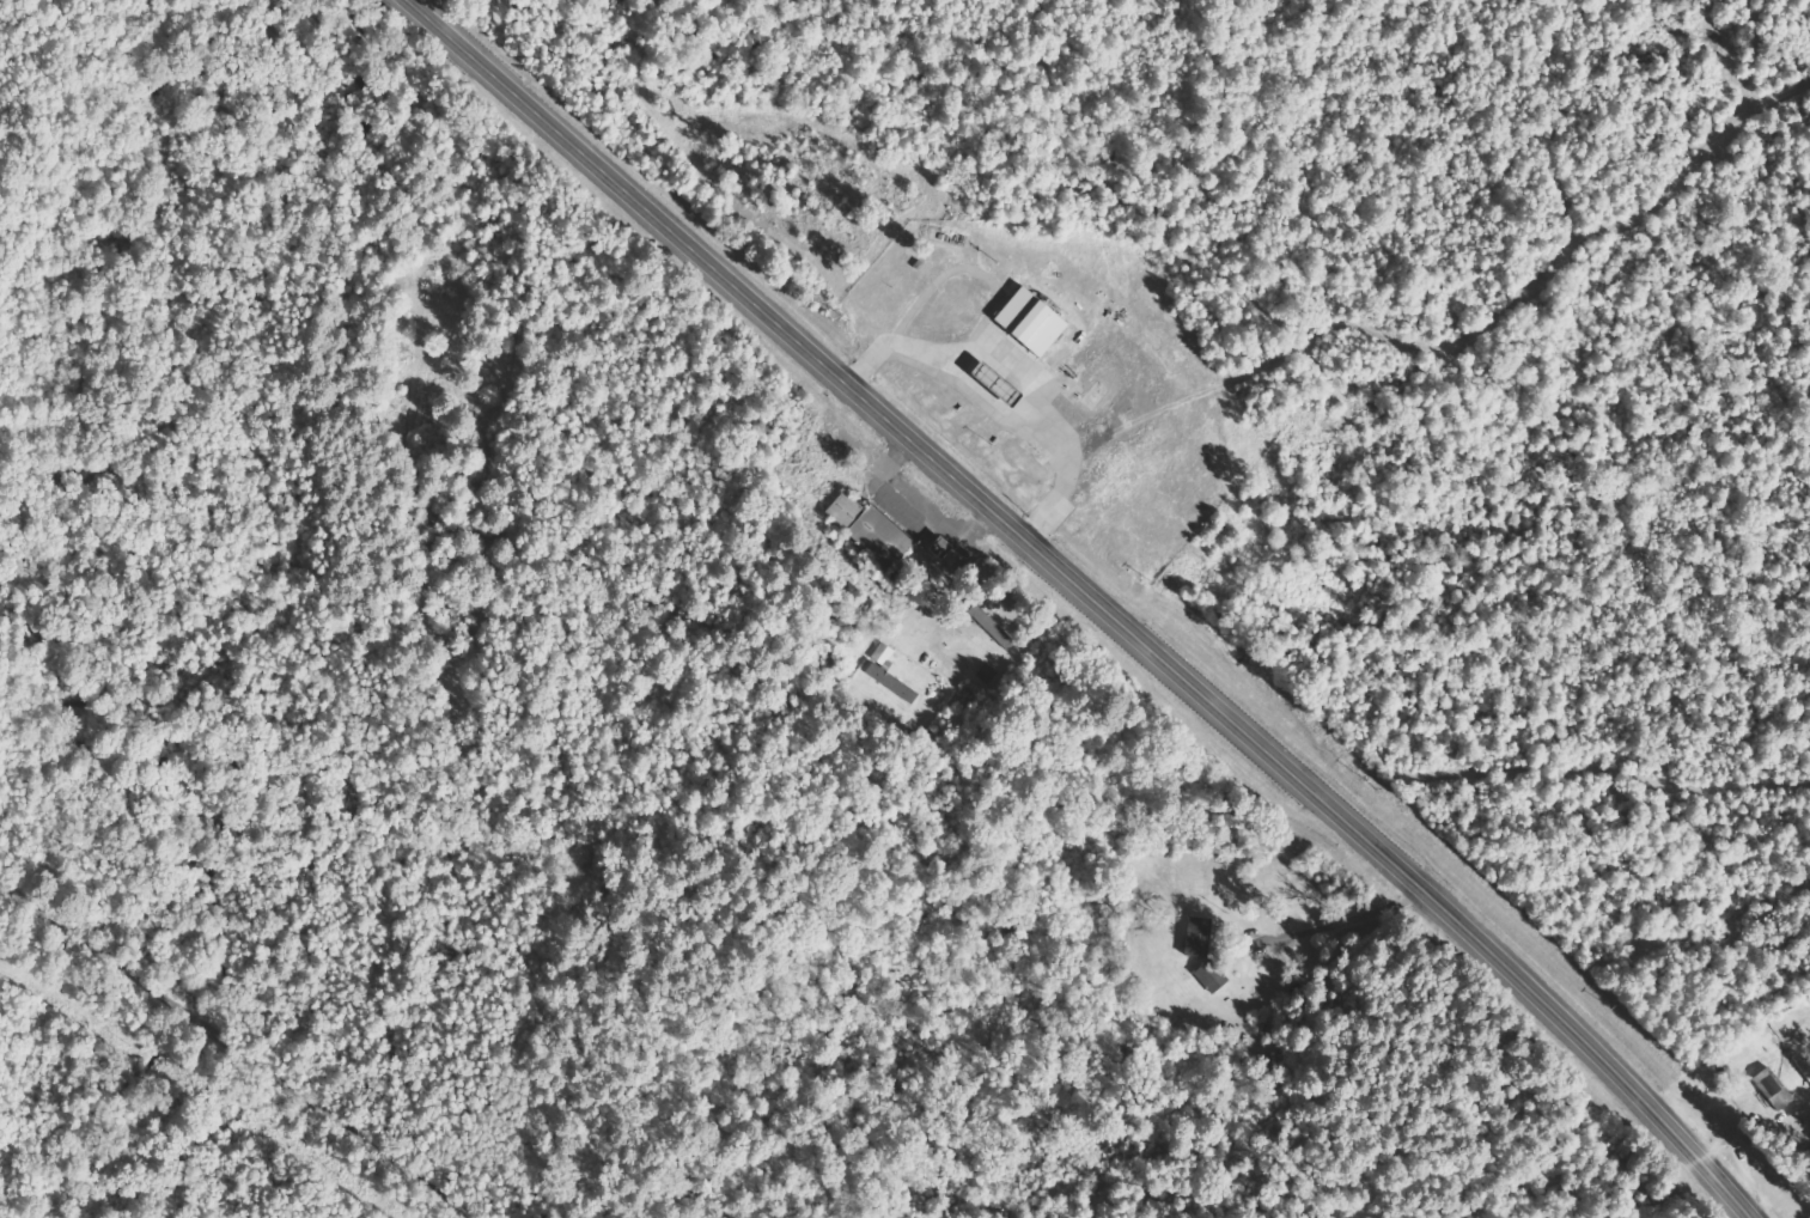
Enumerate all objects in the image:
building: (1037, 322)
building: (874, 531)
road: (1102, 593)
building: (999, 633)
building: (885, 656)
building: (895, 684)
building: (1195, 937)
building: (1209, 979)
road: (244, 1050)
building: (1772, 1089)

